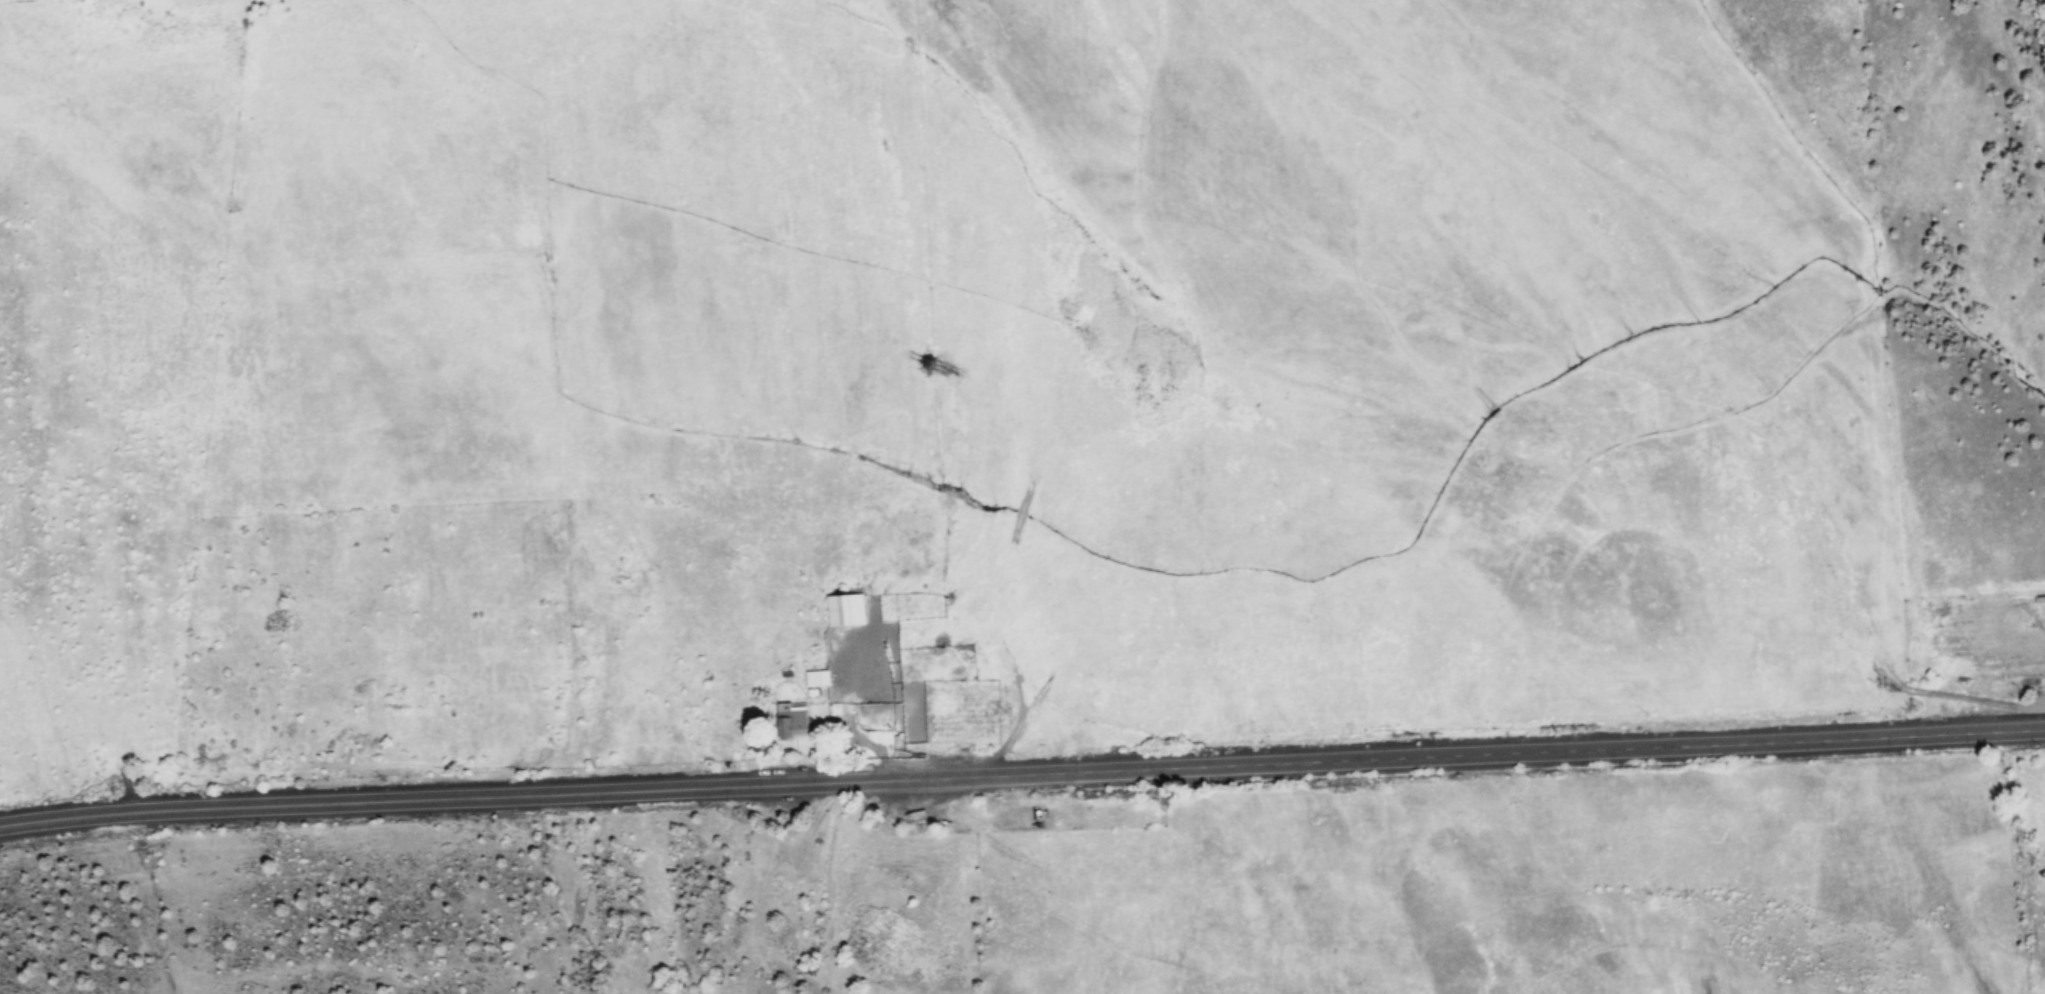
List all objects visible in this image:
building: (846, 609)
building: (817, 678)
building: (793, 722)
road: (1022, 773)

